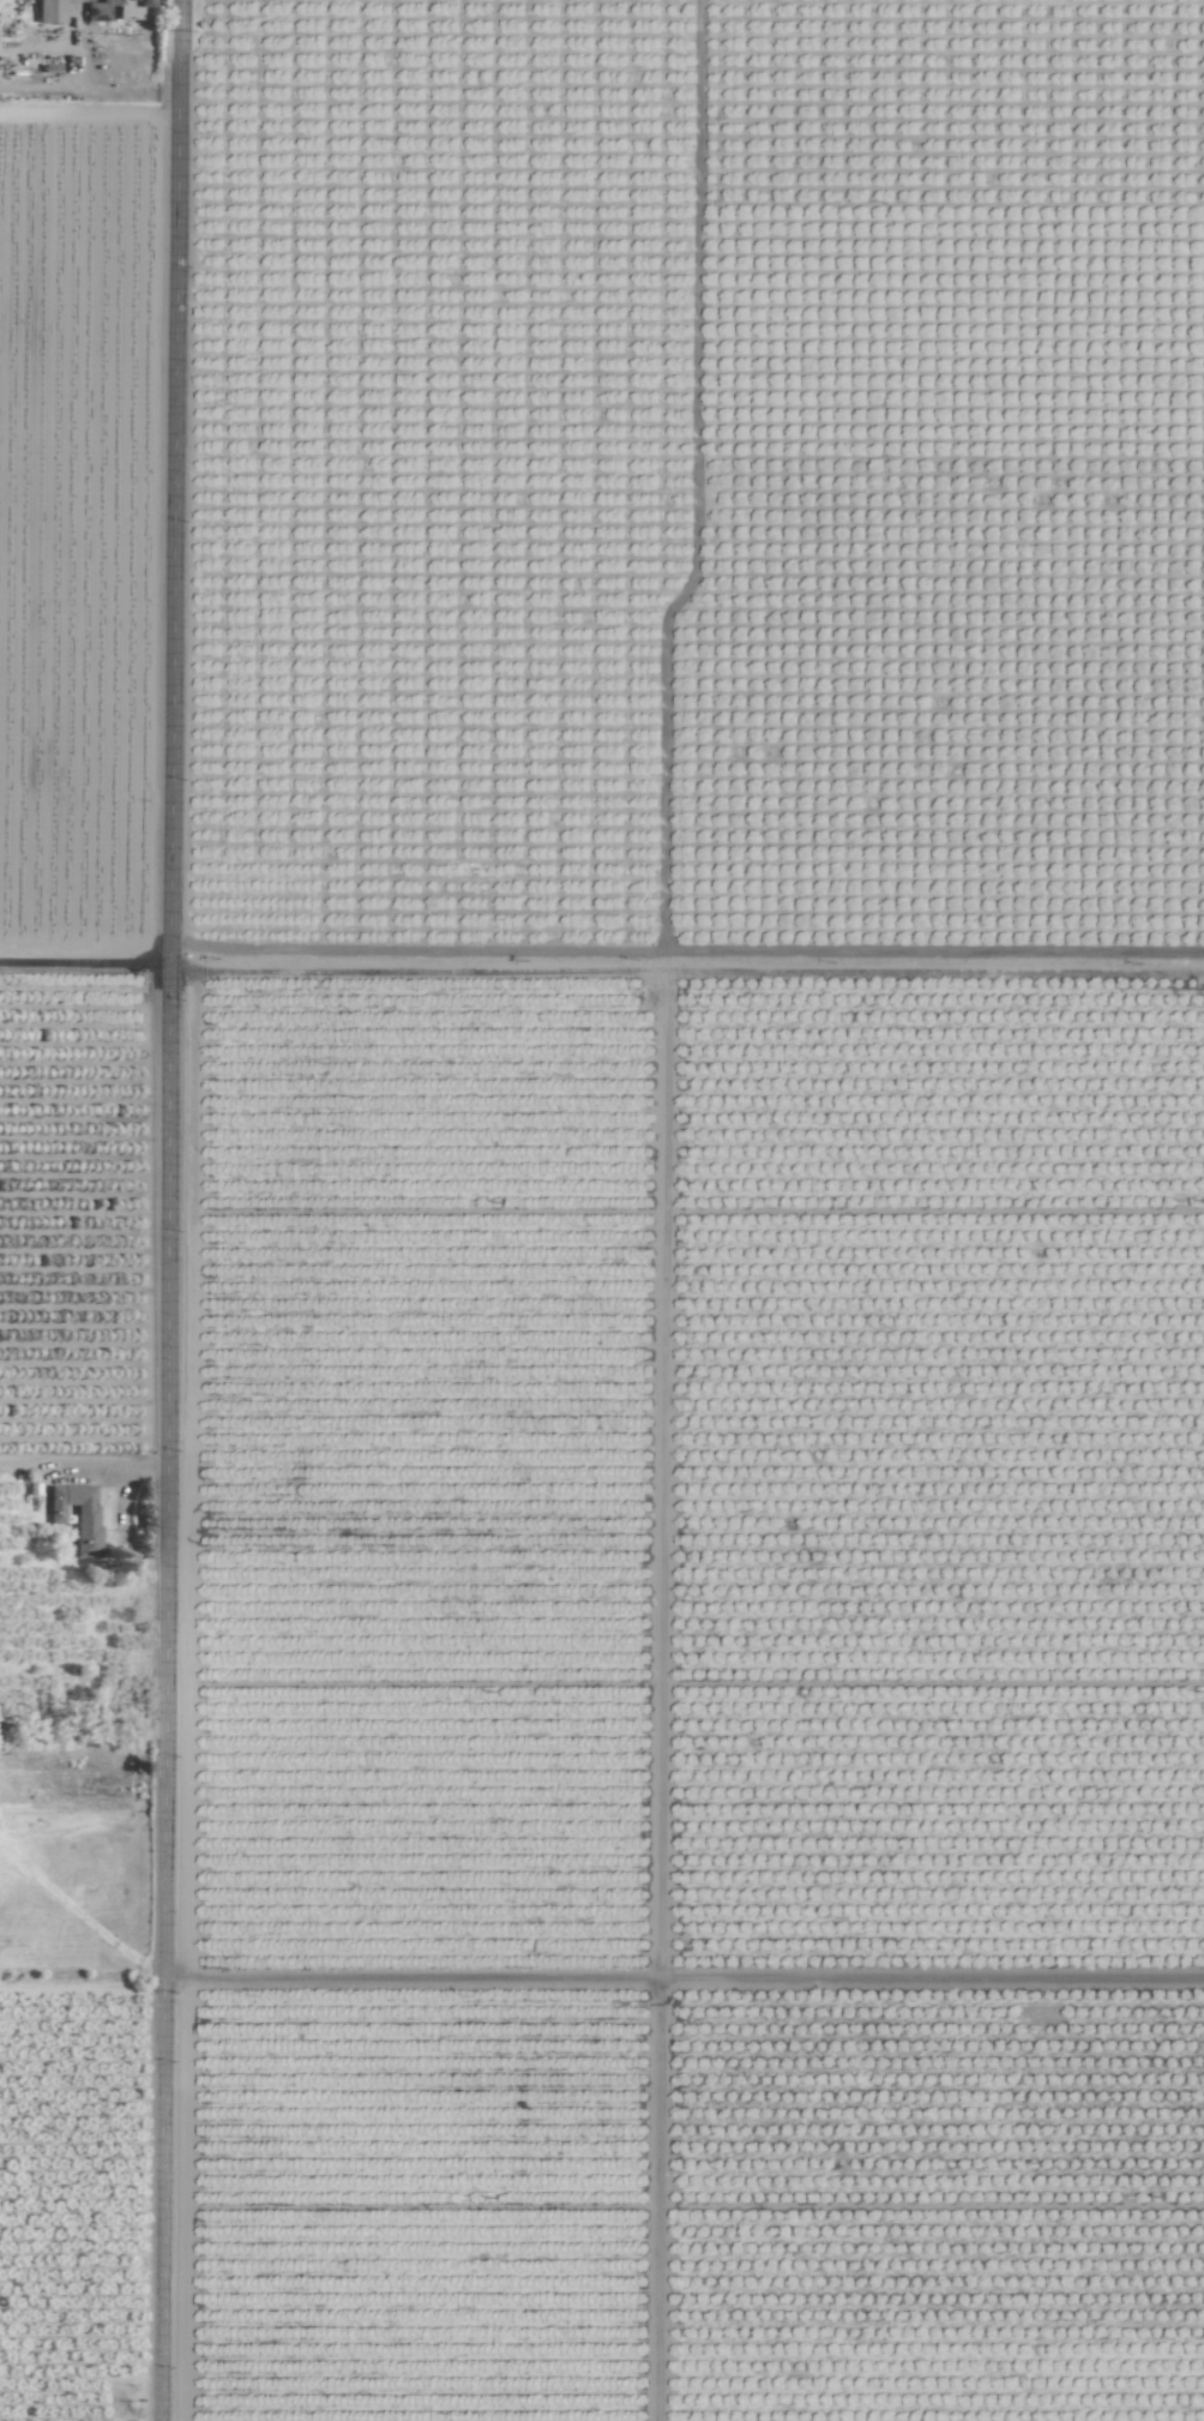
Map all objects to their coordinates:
building: (52, 11)
building: (116, 12)
road: (89, 90)
road: (686, 954)
road: (85, 960)
road: (168, 1209)
road: (83, 1461)
building: (79, 1515)
road: (685, 1971)
road: (83, 1987)

